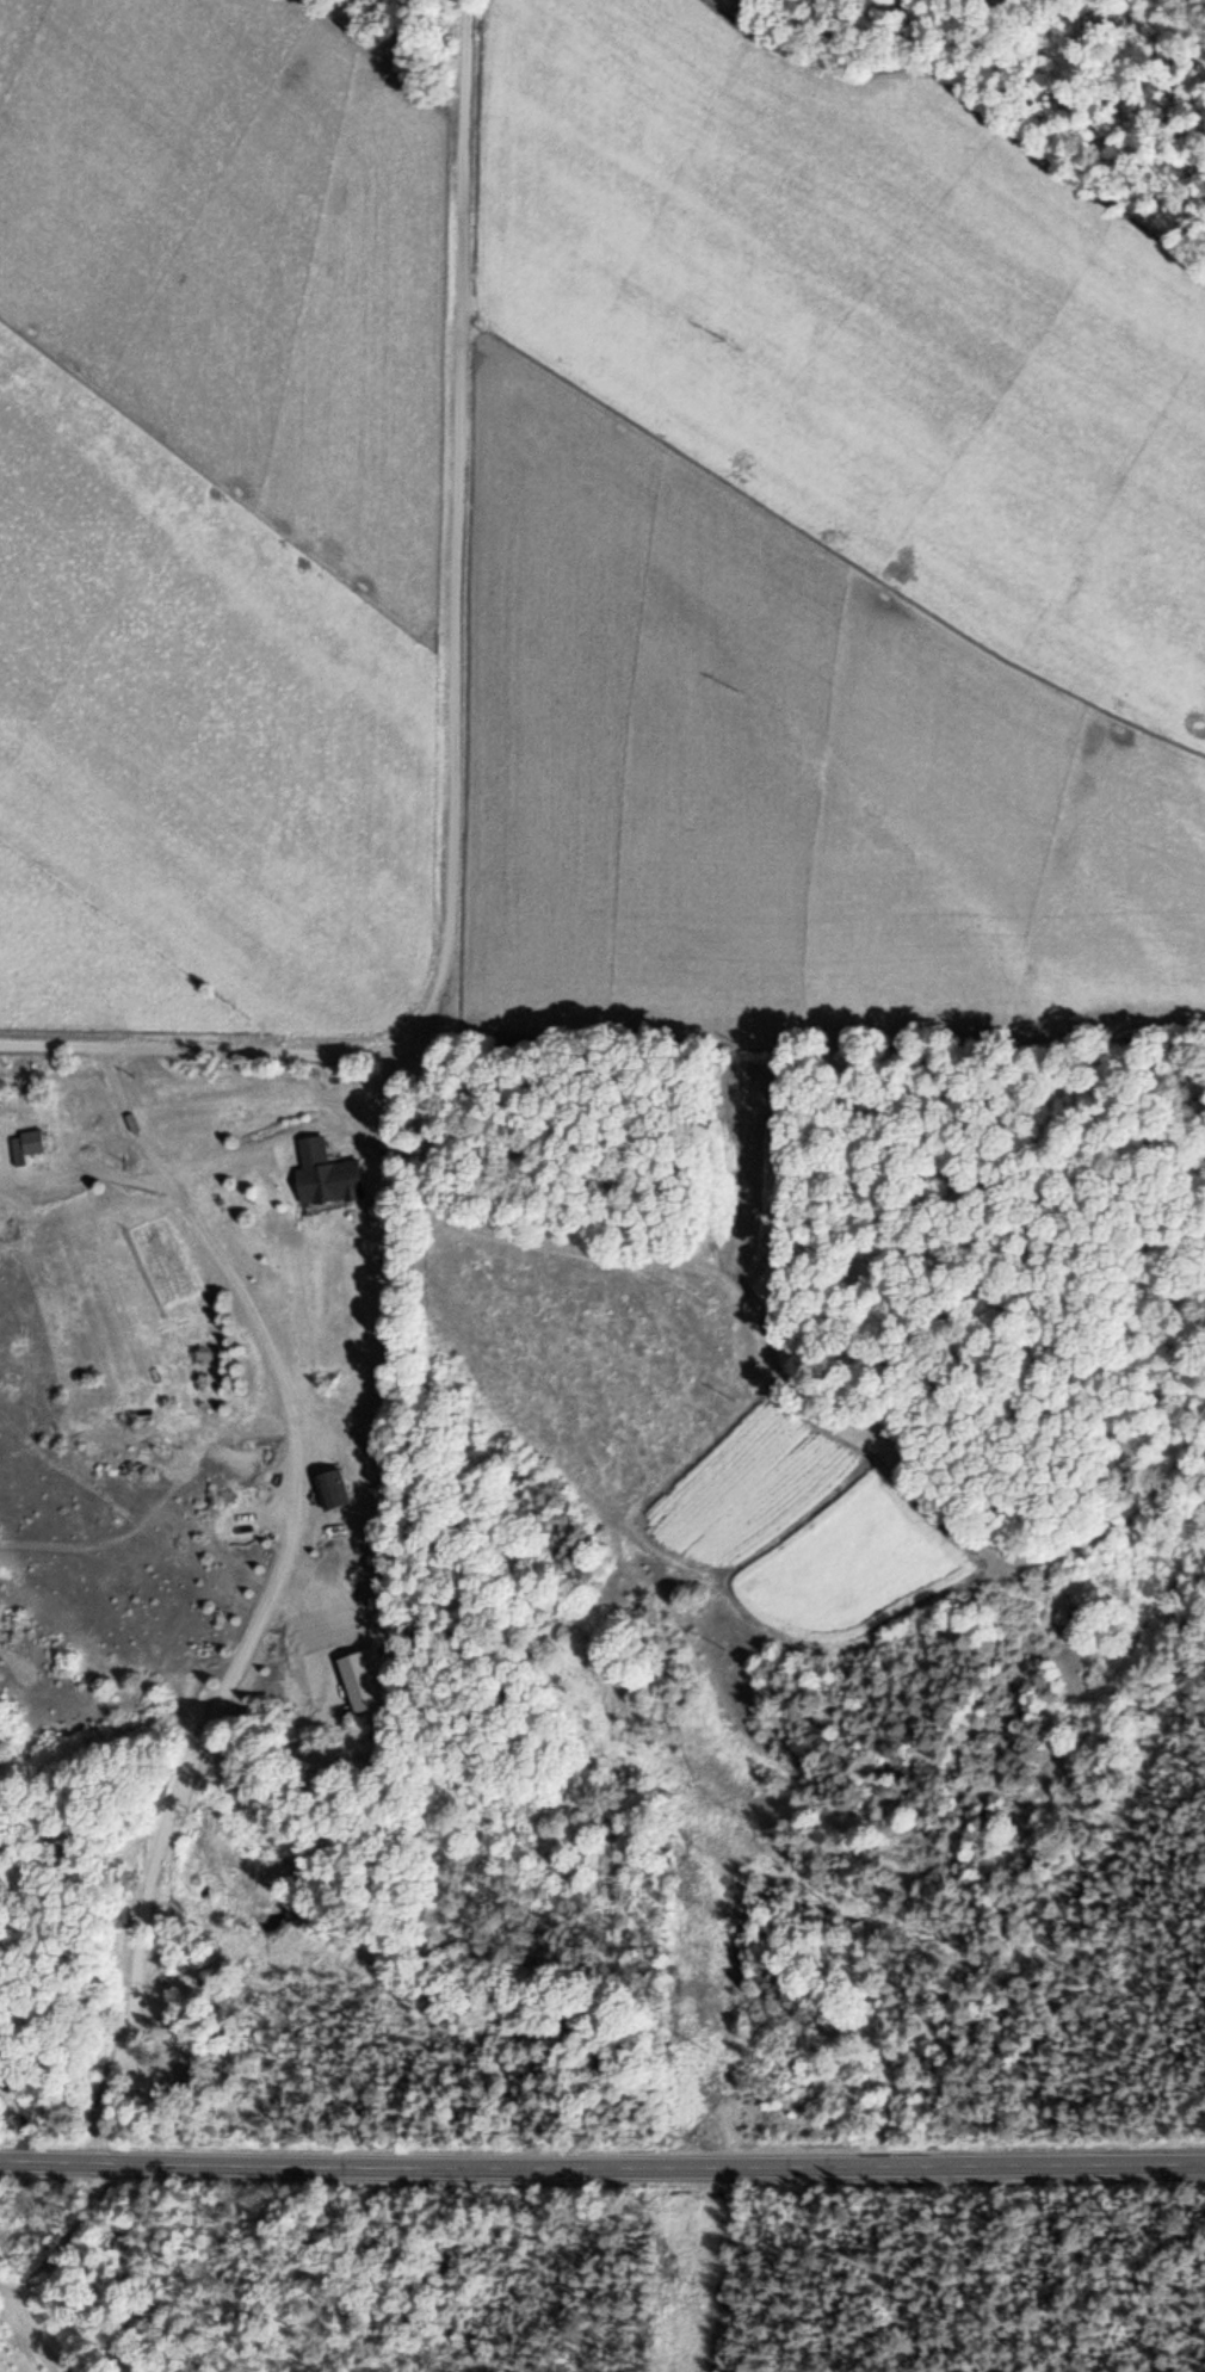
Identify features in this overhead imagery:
road: (450, 728)
road: (154, 937)
building: (24, 1142)
building: (323, 1173)
building: (330, 1487)
road: (601, 2166)

